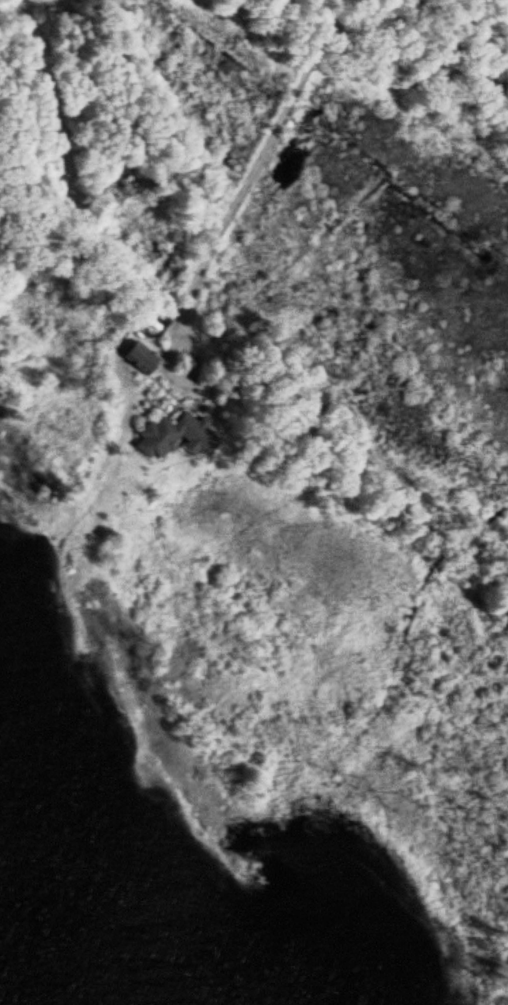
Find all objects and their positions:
road: (252, 175)
building: (140, 364)
building: (166, 432)

